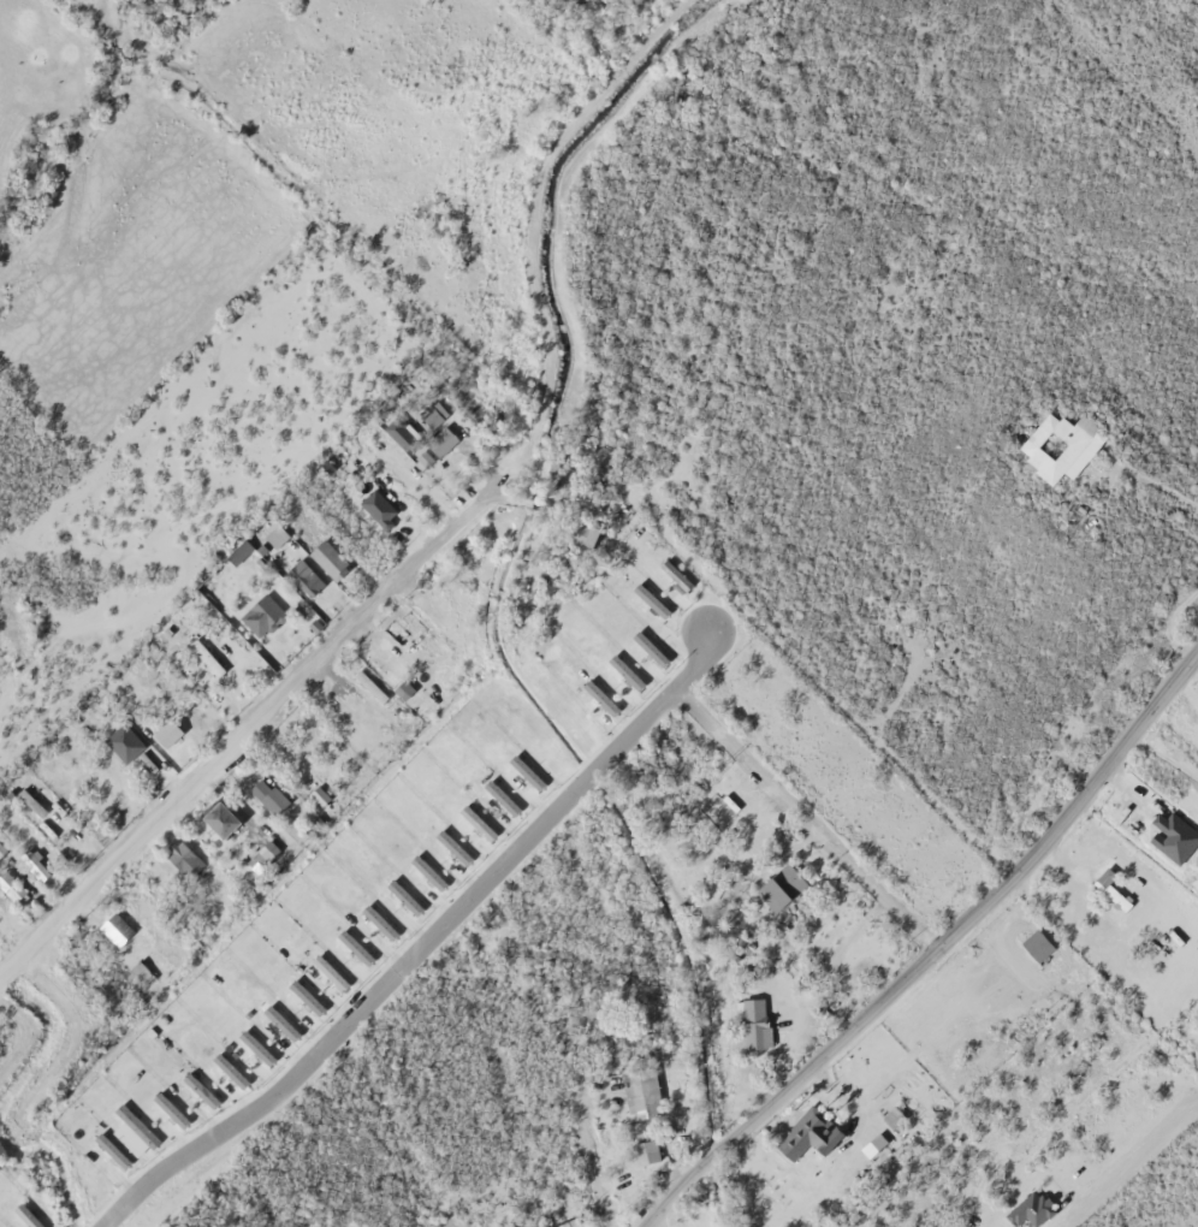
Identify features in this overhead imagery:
building: (427, 414)
building: (438, 435)
building: (1056, 441)
road: (1114, 452)
building: (581, 529)
building: (326, 556)
building: (670, 570)
building: (301, 573)
building: (646, 595)
building: (259, 611)
building: (646, 644)
building: (621, 666)
building: (368, 683)
building: (597, 693)
building: (331, 712)
road: (255, 718)
building: (164, 728)
building: (522, 767)
road: (1105, 771)
building: (707, 789)
building: (263, 792)
building: (498, 793)
building: (218, 814)
building: (473, 818)
road: (802, 820)
building: (1169, 830)
building: (450, 842)
building: (34, 863)
building: (777, 882)
building: (10, 884)
building: (401, 891)
building: (375, 918)
building: (111, 919)
building: (1034, 942)
building: (351, 943)
road: (417, 946)
building: (326, 968)
building: (136, 970)
building: (302, 992)
building: (277, 1018)
building: (752, 1019)
building: (251, 1042)
road: (823, 1051)
building: (226, 1066)
building: (196, 1086)
building: (637, 1086)
building: (166, 1106)
building: (889, 1113)
building: (873, 1143)
building: (108, 1145)
building: (644, 1151)
road: (594, 1157)
building: (1027, 1204)

